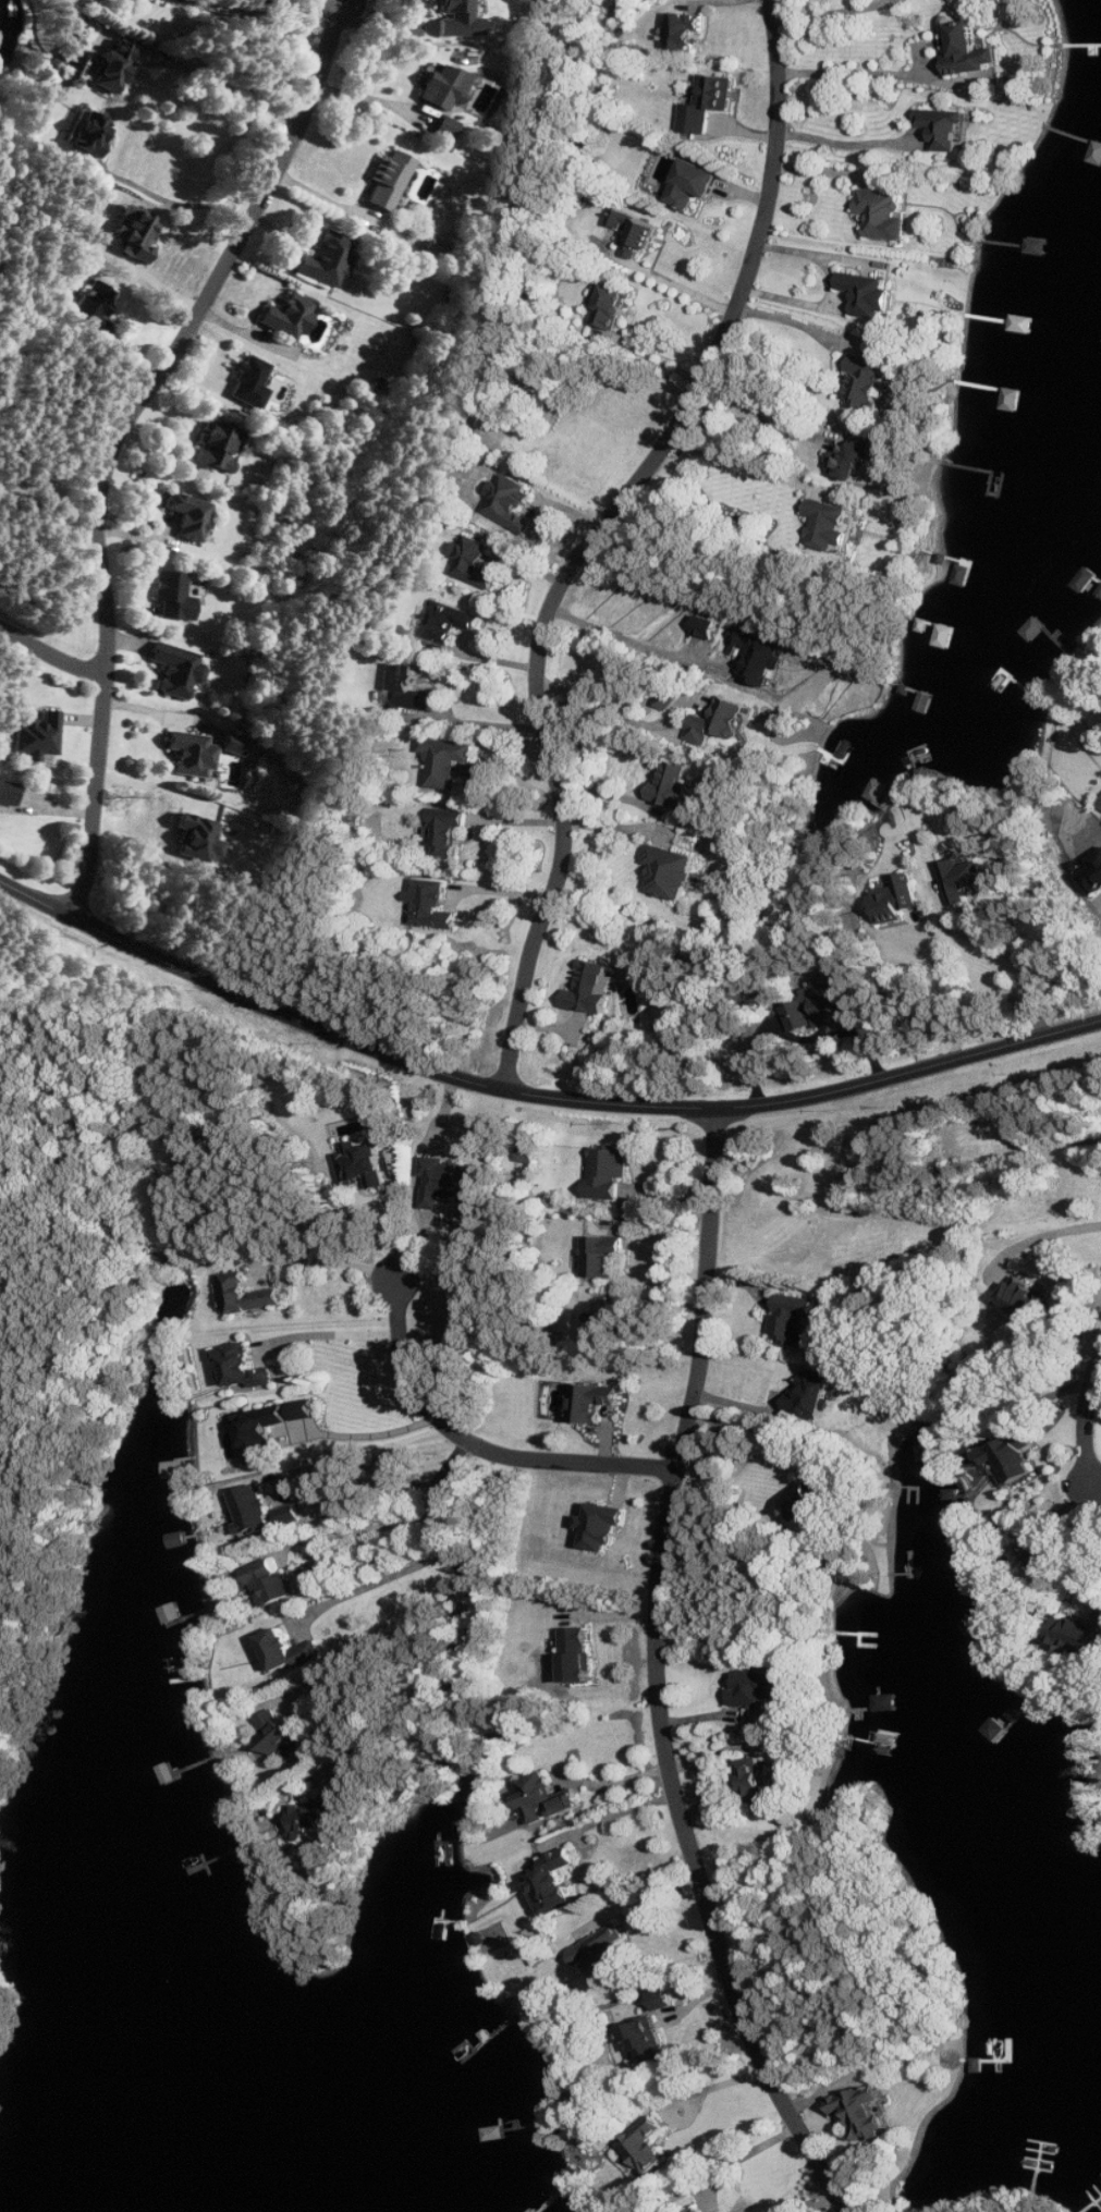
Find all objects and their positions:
road: (893, 1)
road: (894, 1)
road: (834, 12)
building: (460, 20)
road: (259, 23)
building: (685, 33)
building: (109, 68)
road: (856, 74)
road: (222, 85)
building: (442, 87)
building: (709, 103)
building: (446, 127)
building: (946, 129)
building: (89, 133)
building: (389, 181)
building: (696, 184)
road: (326, 198)
building: (883, 215)
building: (637, 232)
building: (136, 234)
building: (438, 247)
building: (328, 260)
road: (682, 286)
road: (832, 290)
building: (870, 296)
building: (94, 307)
building: (613, 308)
building: (289, 318)
road: (799, 323)
building: (868, 381)
building: (250, 383)
road: (761, 412)
road: (121, 433)
building: (220, 449)
building: (858, 455)
road: (748, 463)
building: (512, 503)
building: (189, 516)
building: (831, 527)
road: (603, 535)
building: (476, 563)
building: (173, 597)
building: (450, 622)
building: (709, 627)
road: (631, 641)
building: (759, 656)
road: (51, 658)
building: (179, 671)
building: (411, 689)
building: (719, 722)
road: (487, 723)
building: (38, 736)
building: (235, 745)
building: (193, 755)
building: (450, 762)
building: (674, 786)
building: (1100, 804)
building: (449, 836)
building: (197, 839)
building: (672, 872)
building: (1094, 878)
building: (963, 880)
road: (502, 890)
building: (896, 901)
building: (431, 905)
road: (93, 927)
road: (1015, 961)
road: (956, 987)
building: (592, 990)
building: (834, 1002)
road: (637, 1107)
building: (365, 1166)
building: (450, 1182)
road: (1039, 1236)
building: (602, 1257)
road: (329, 1260)
building: (247, 1295)
building: (1028, 1300)
building: (604, 1328)
building: (244, 1367)
building: (594, 1403)
building: (305, 1410)
road: (1088, 1421)
road: (751, 1427)
building: (262, 1432)
road: (372, 1433)
road: (479, 1447)
road: (363, 1457)
building: (1014, 1458)
road: (1097, 1495)
building: (812, 1498)
building: (253, 1513)
building: (291, 1515)
building: (603, 1526)
road: (1092, 1526)
road: (444, 1527)
road: (355, 1530)
building: (1045, 1562)
road: (1099, 1573)
building: (270, 1582)
road: (369, 1586)
road: (1088, 1587)
building: (1078, 1636)
building: (290, 1651)
building: (578, 1655)
road: (657, 1677)
building: (757, 1689)
road: (429, 1701)
building: (278, 1735)
building: (754, 1781)
road: (615, 1782)
building: (546, 1799)
building: (322, 1810)
road: (609, 1819)
building: (556, 1884)
building: (604, 1956)
building: (662, 1999)
building: (645, 2040)
building: (864, 2112)
building: (644, 2148)
road: (742, 2158)
building: (698, 2210)

